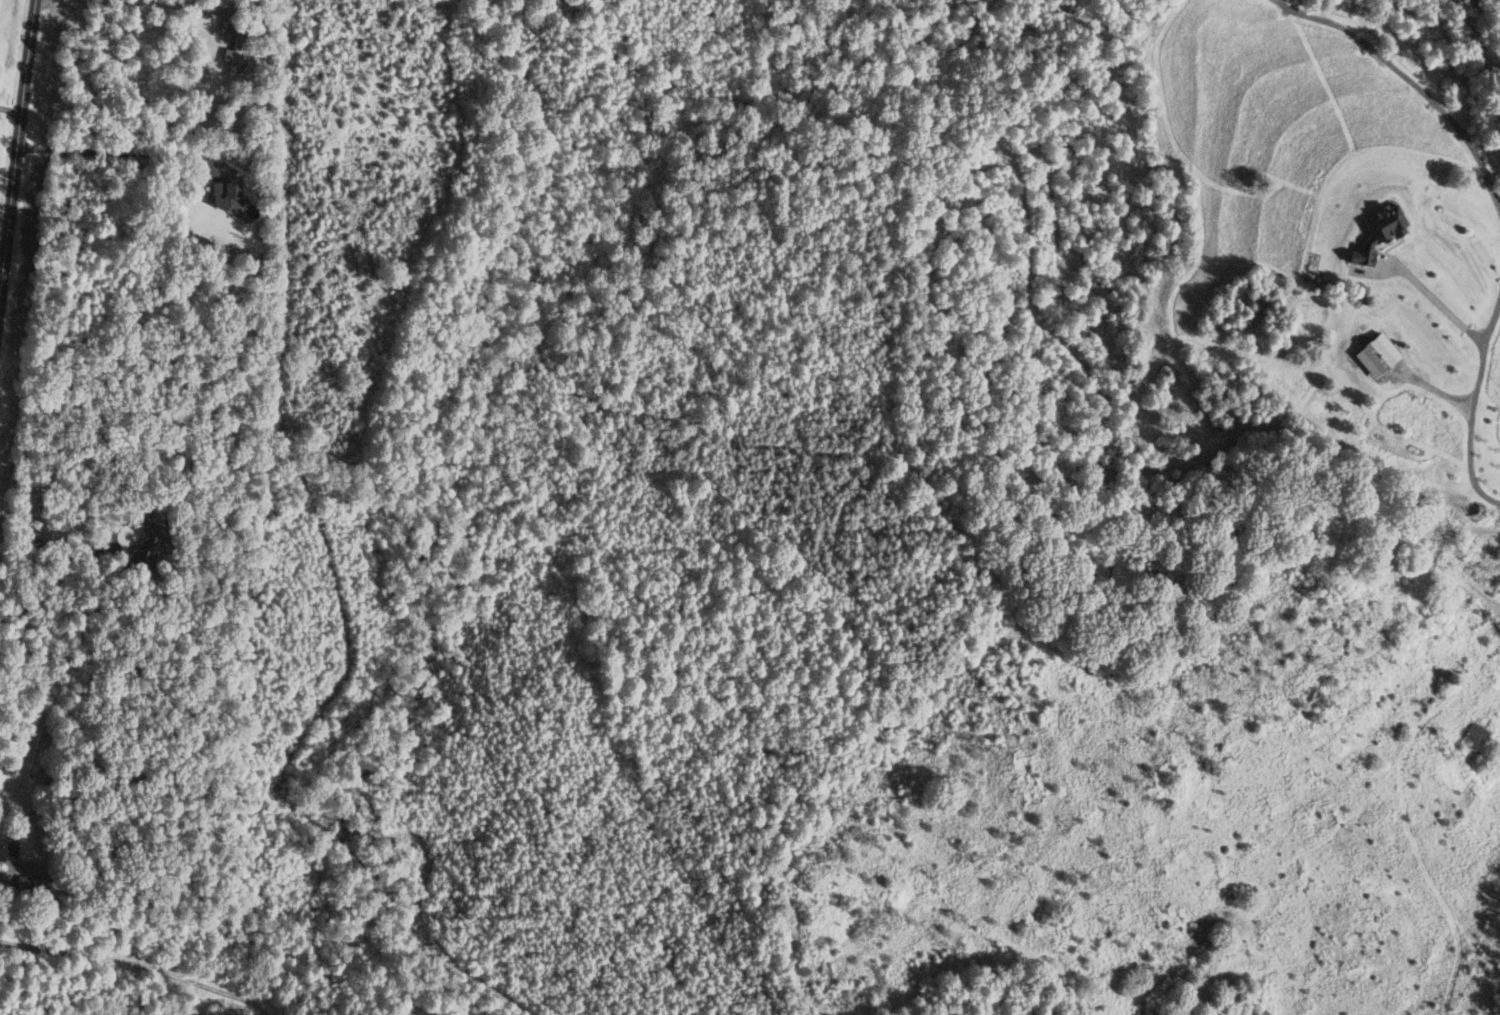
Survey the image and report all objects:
road: (176, 3)
building: (235, 56)
road: (1408, 79)
road: (15, 141)
building: (226, 194)
road: (1472, 408)
building: (145, 547)
road: (77, 556)
road: (1483, 569)
building: (1401, 576)
building: (1473, 735)
building: (1, 848)
building: (43, 886)
road: (139, 962)

